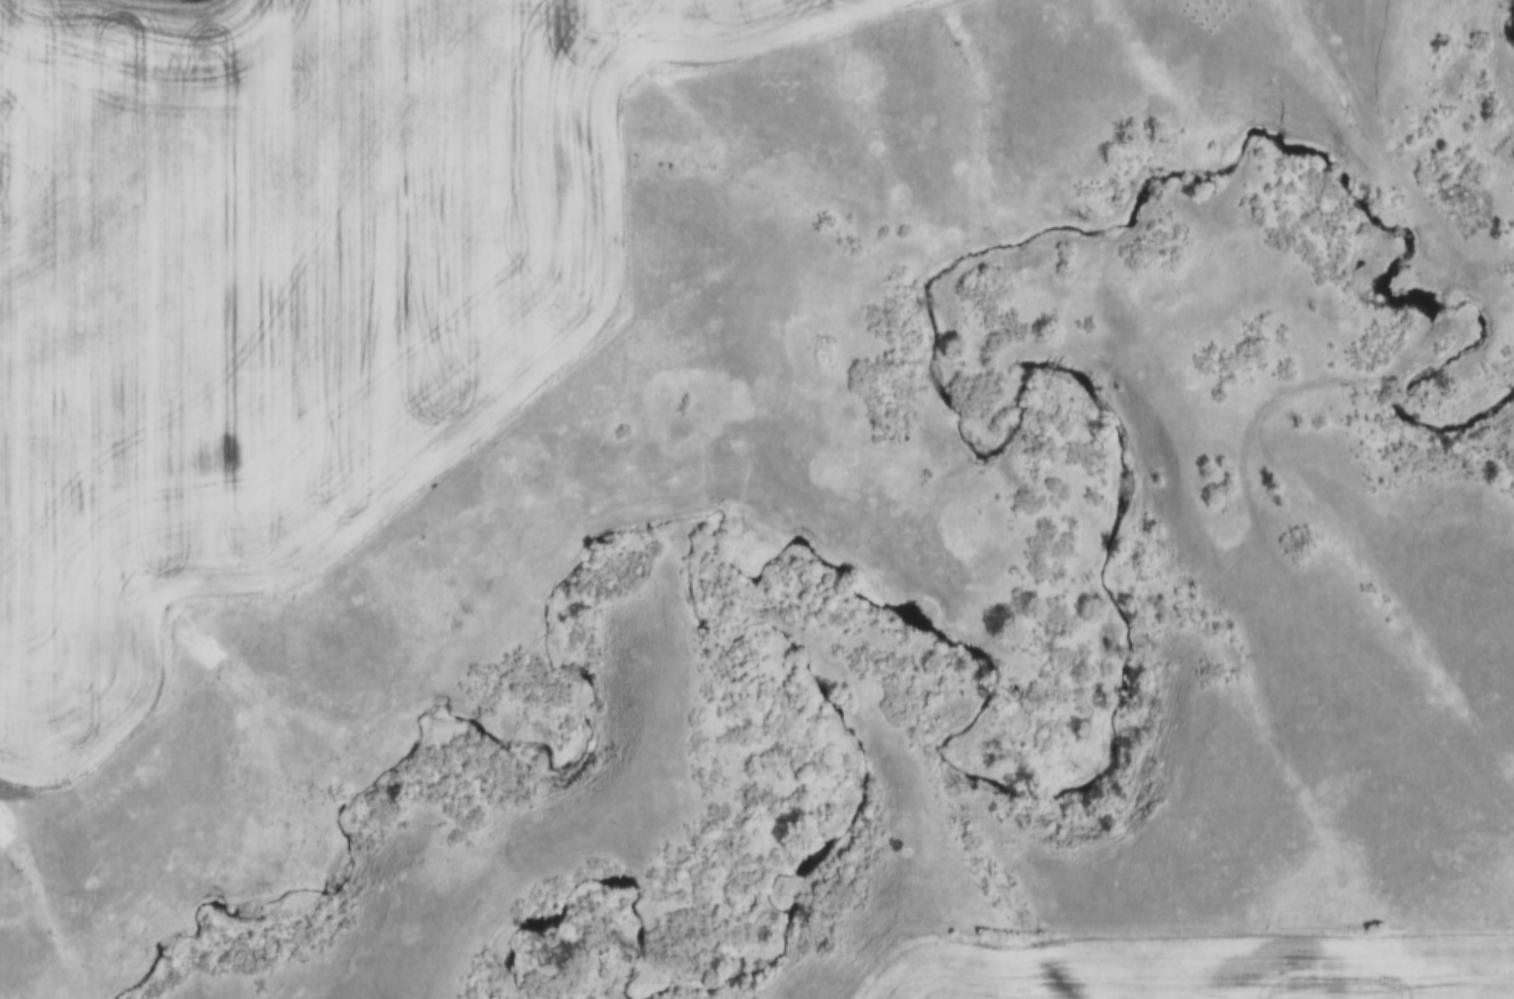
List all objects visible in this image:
road: (1328, 372)

